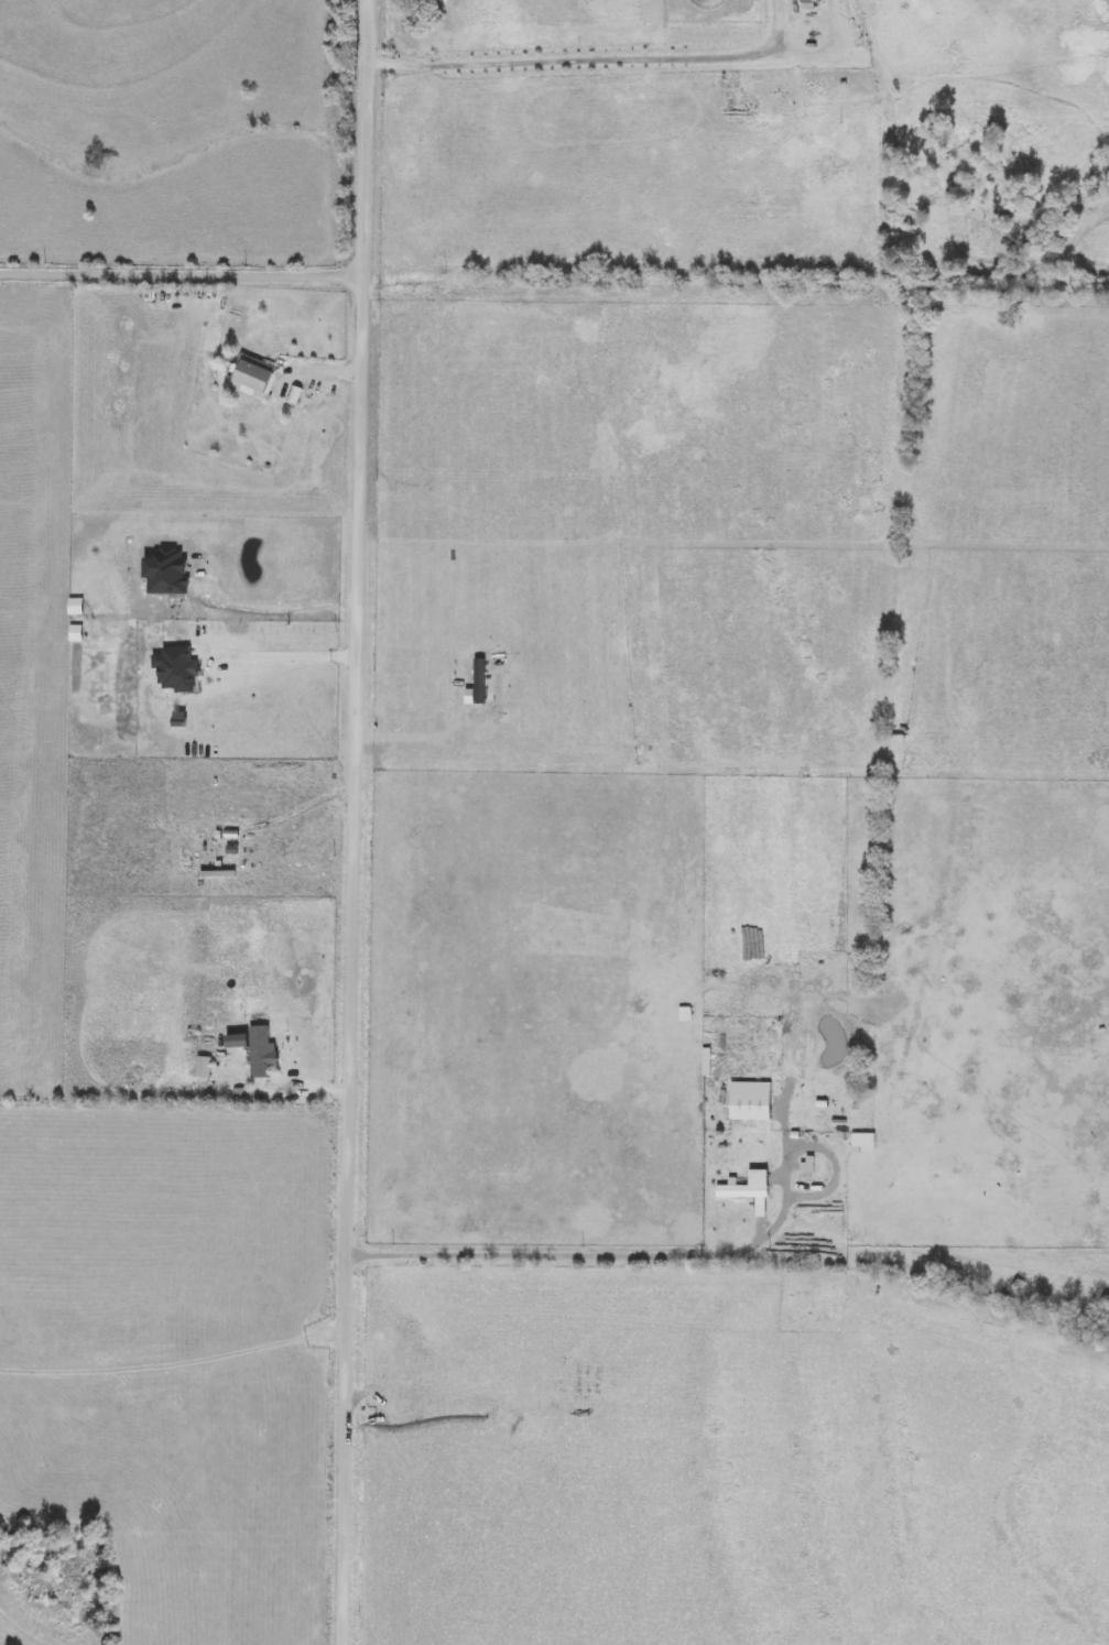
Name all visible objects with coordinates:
road: (599, 61)
road: (184, 270)
building: (254, 377)
road: (281, 654)
road: (306, 796)
road: (359, 822)
building: (686, 1014)
building: (707, 1061)
building: (753, 1101)
building: (865, 1141)
building: (820, 1152)
building: (750, 1187)
road: (611, 1255)
road: (175, 1363)

